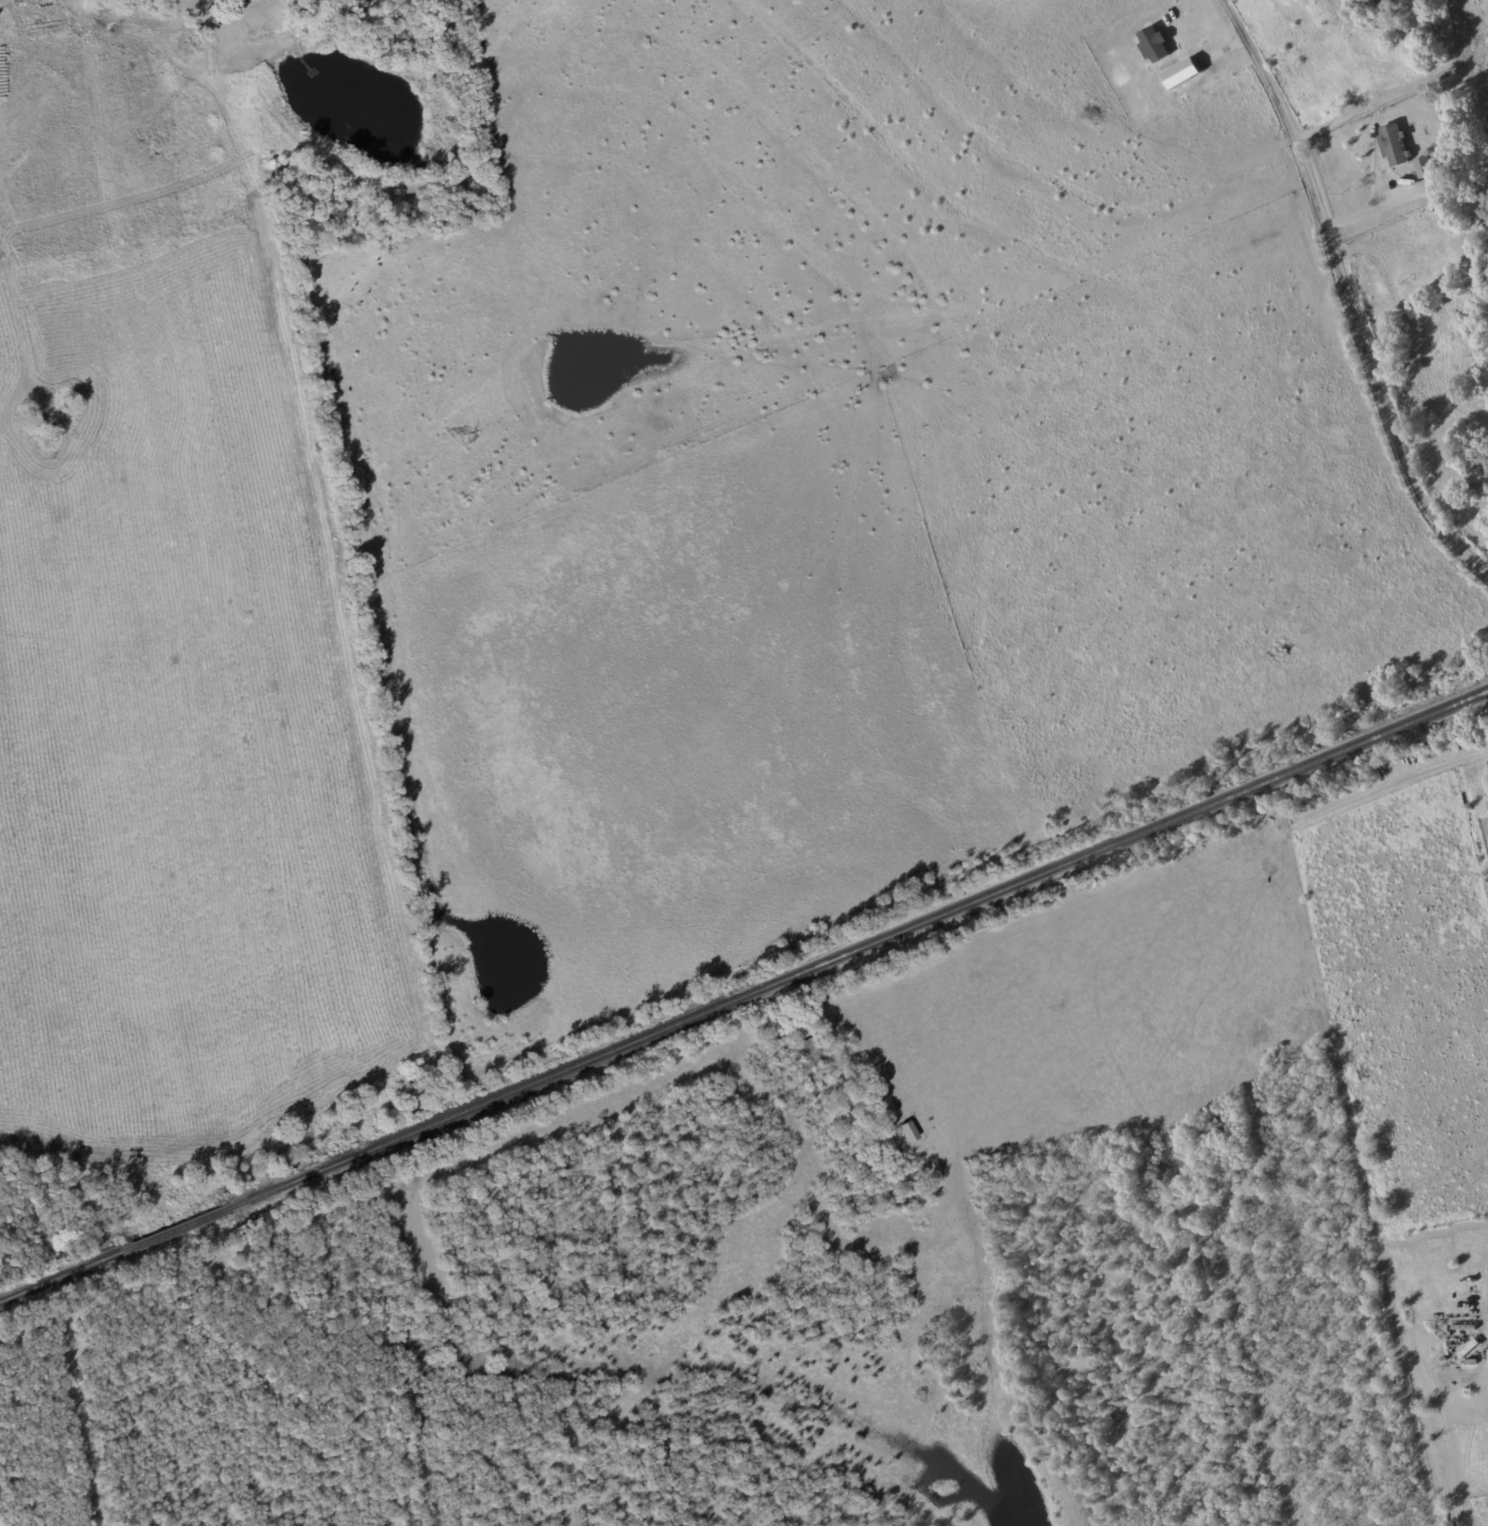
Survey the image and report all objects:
building: (1152, 45)
building: (1392, 145)
building: (1423, 167)
road: (1347, 294)
railway: (744, 997)
building: (905, 1132)

